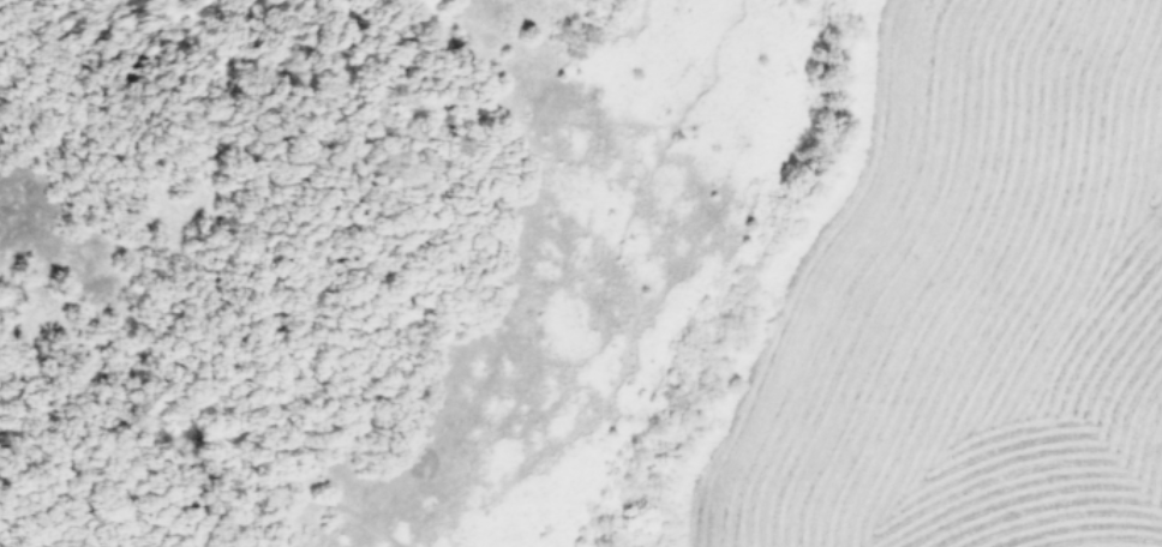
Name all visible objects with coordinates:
crop: (960, 300)

